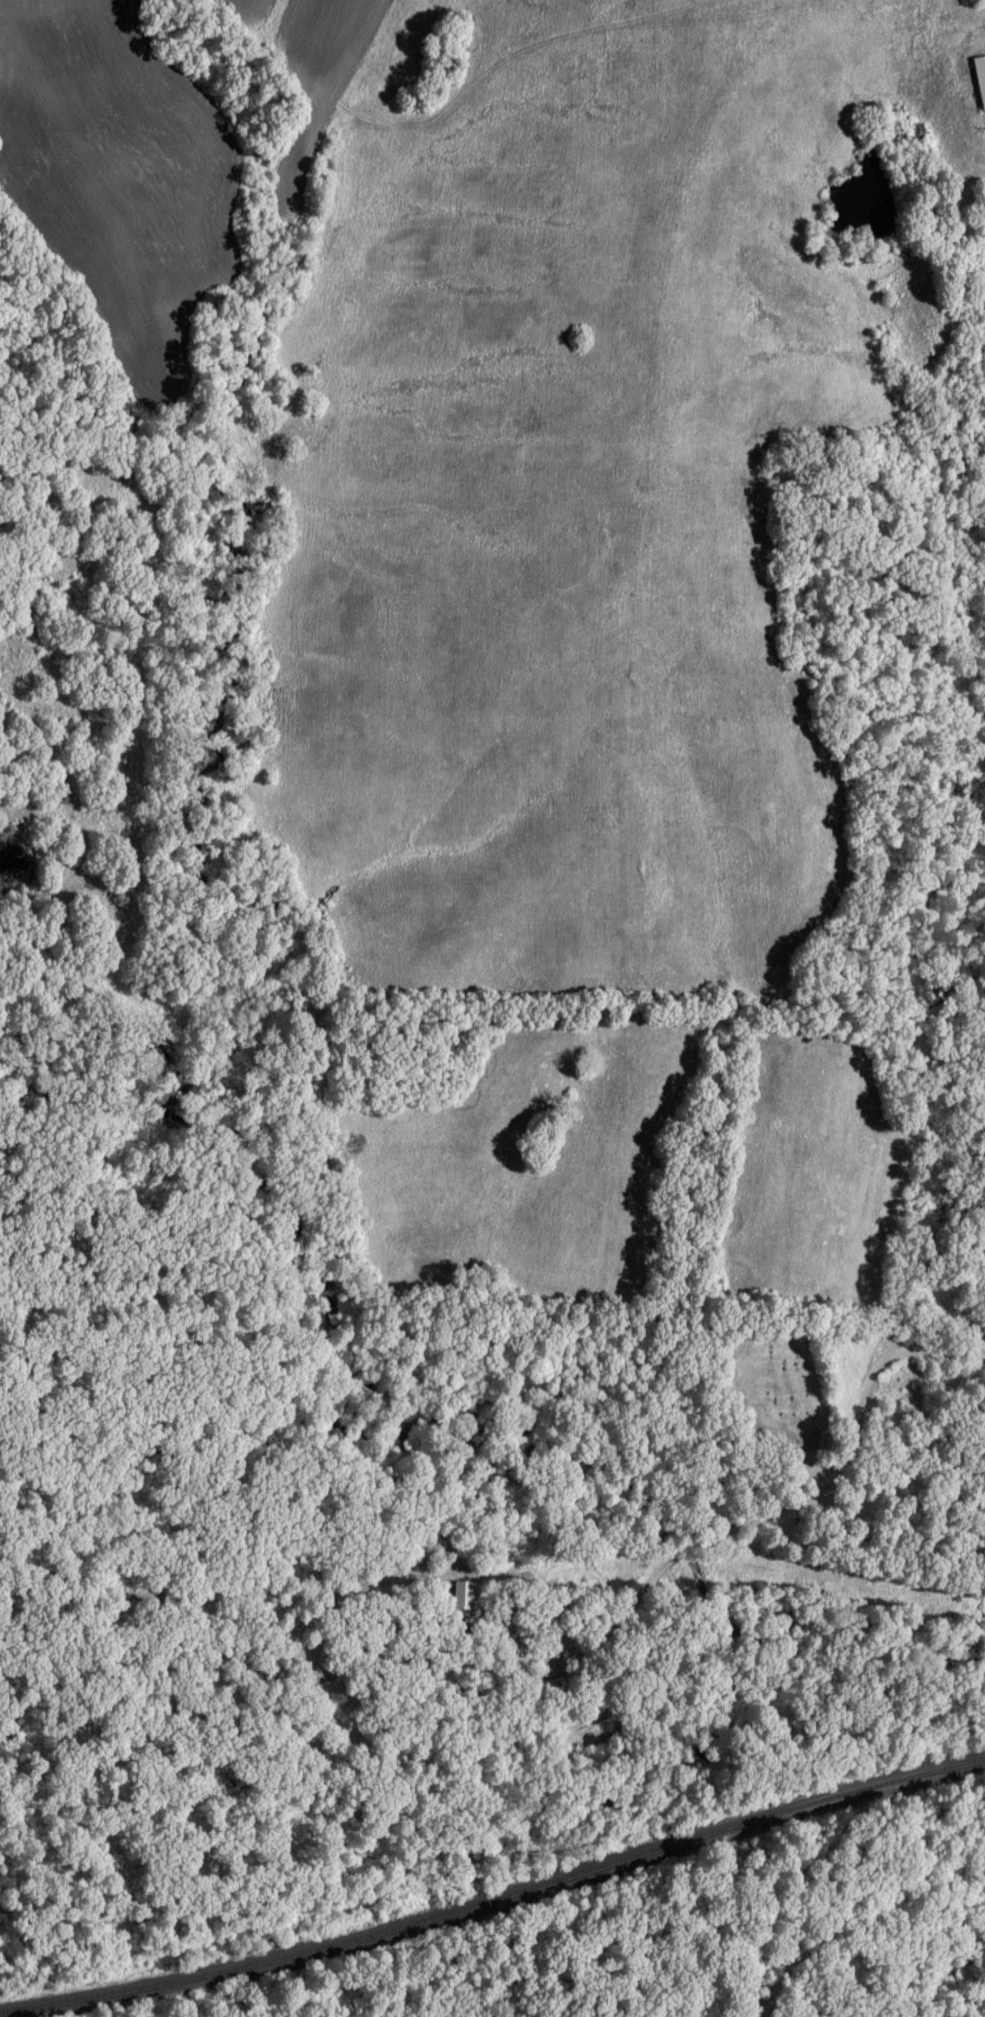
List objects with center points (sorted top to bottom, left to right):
building: (982, 74)
park: (783, 1407)
road: (859, 1435)
building: (467, 1596)
railway: (495, 1901)

